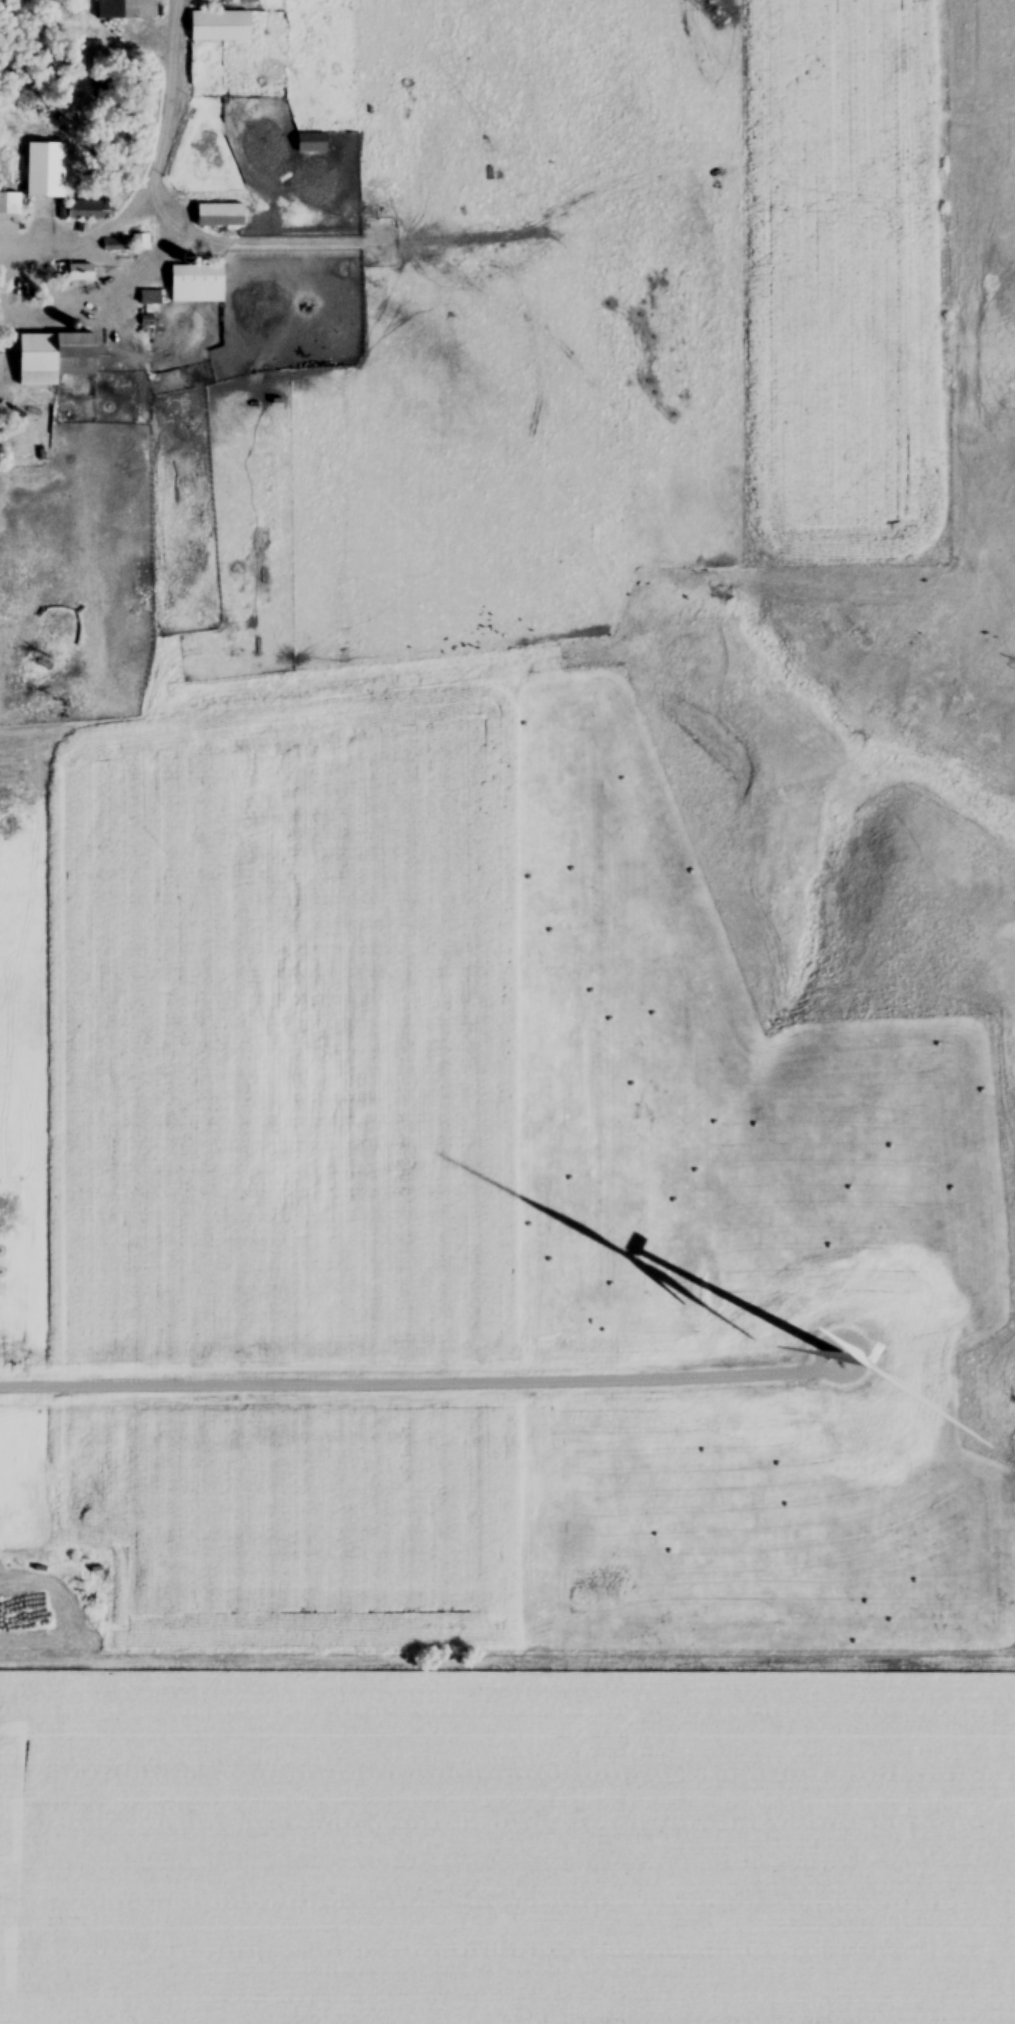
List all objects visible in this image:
building: (127, 10)
power tower: (723, 16)
building: (220, 28)
building: (311, 146)
building: (46, 173)
road: (151, 177)
building: (6, 205)
building: (220, 218)
road: (153, 260)
building: (81, 275)
building: (197, 286)
building: (150, 299)
road: (3, 317)
building: (56, 360)
wind turbine: (843, 1359)

